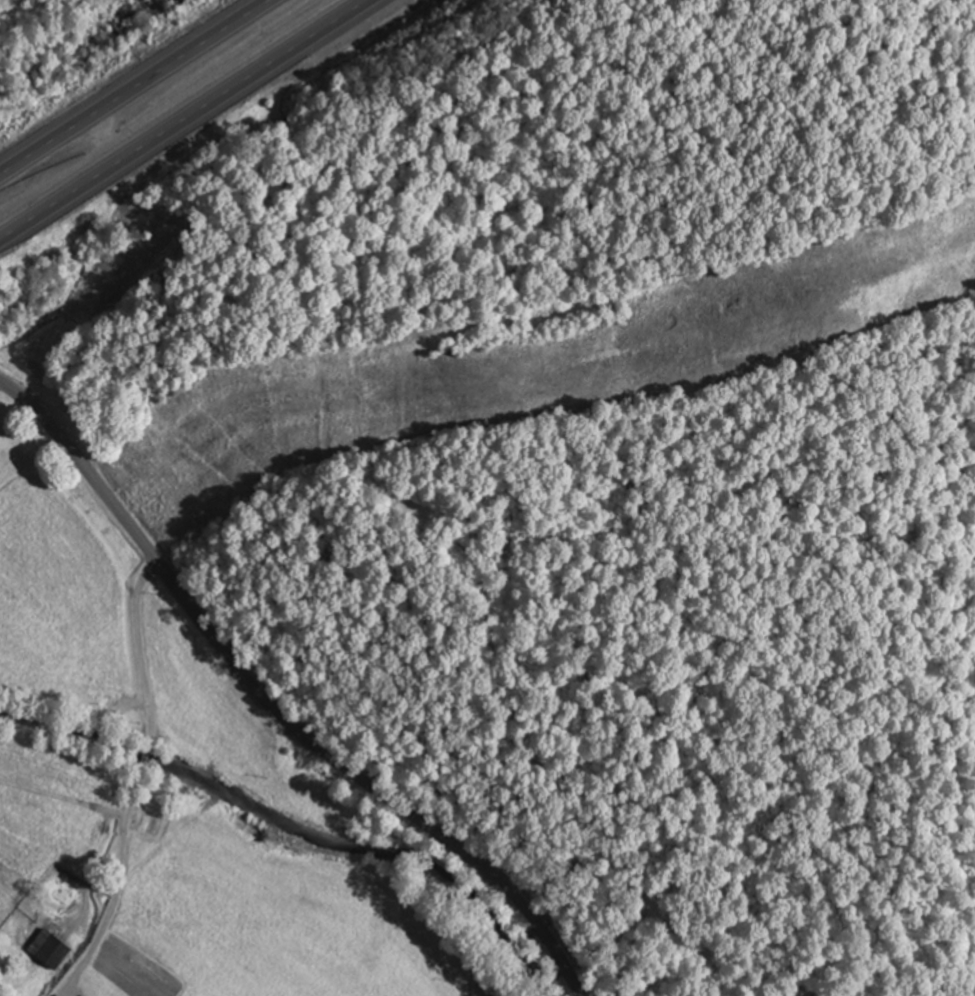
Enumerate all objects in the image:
road: (130, 85)
road: (186, 118)
building: (98, 690)
road: (272, 707)
building: (56, 951)

